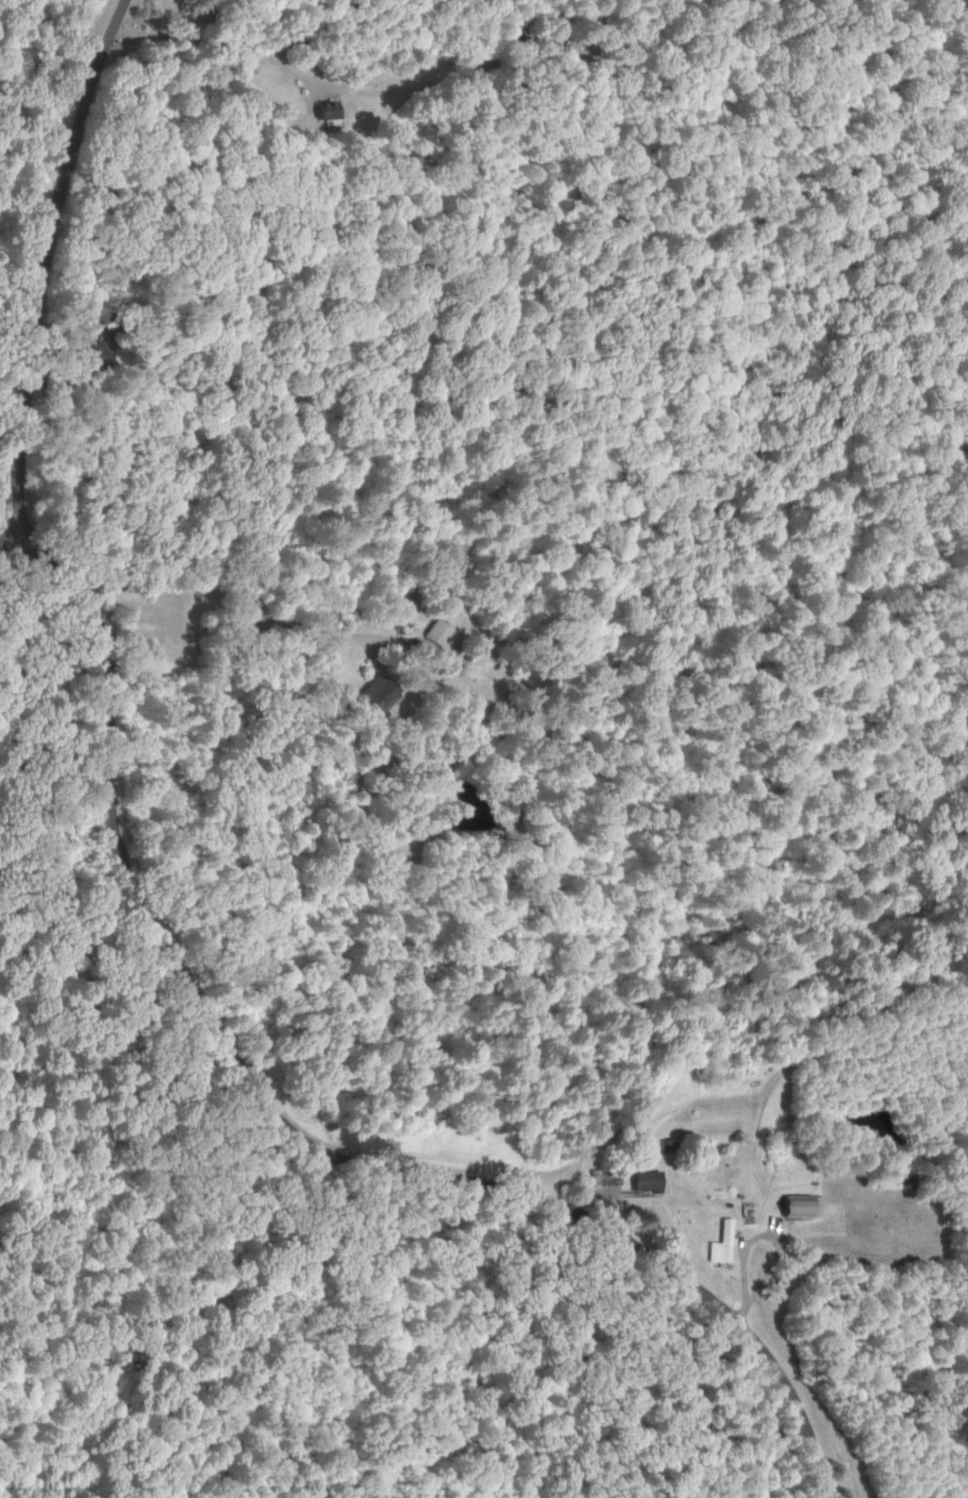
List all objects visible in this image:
road: (213, 53)
building: (326, 113)
road: (42, 259)
building: (90, 354)
road: (5, 533)
building: (439, 635)
building: (376, 691)
road: (288, 1138)
building: (665, 1144)
building: (601, 1175)
building: (644, 1180)
building: (800, 1205)
building: (719, 1242)

